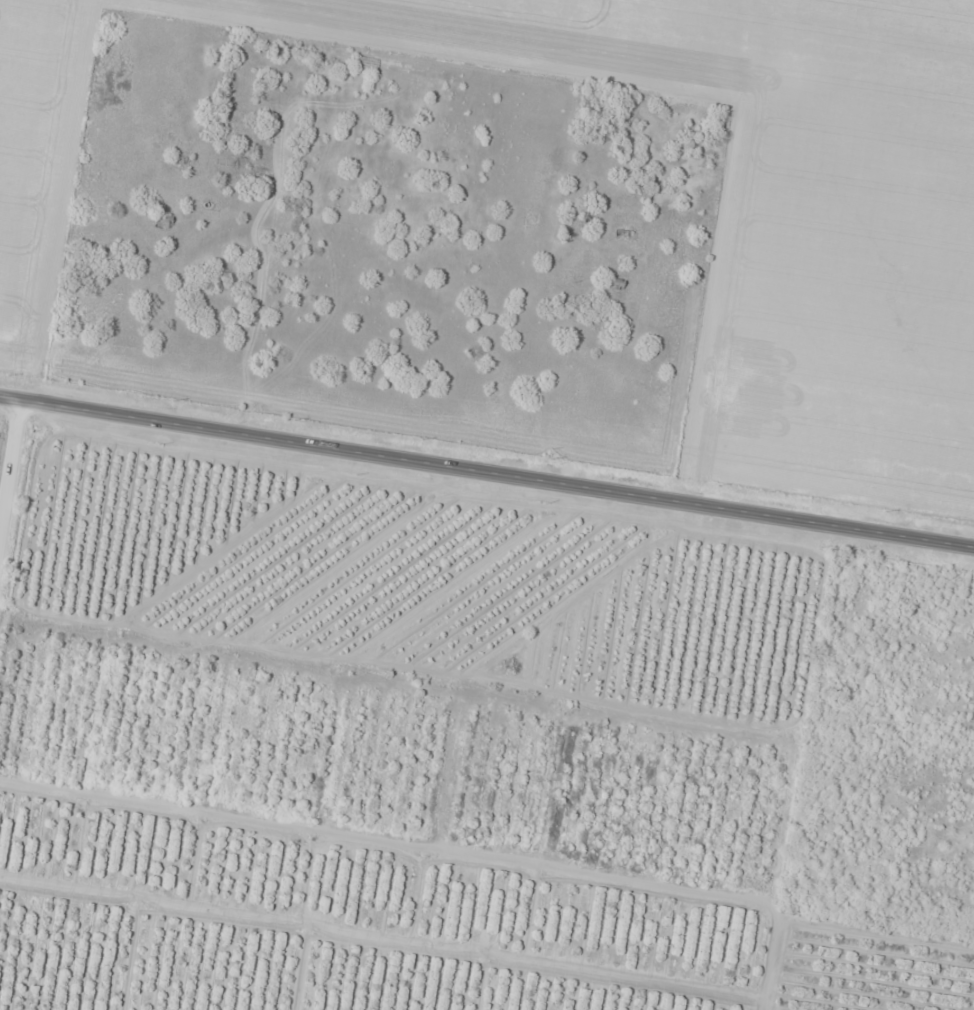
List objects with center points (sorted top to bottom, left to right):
building: (646, 175)
building: (643, 191)
building: (163, 223)
road: (567, 365)
road: (9, 460)
road: (486, 471)

